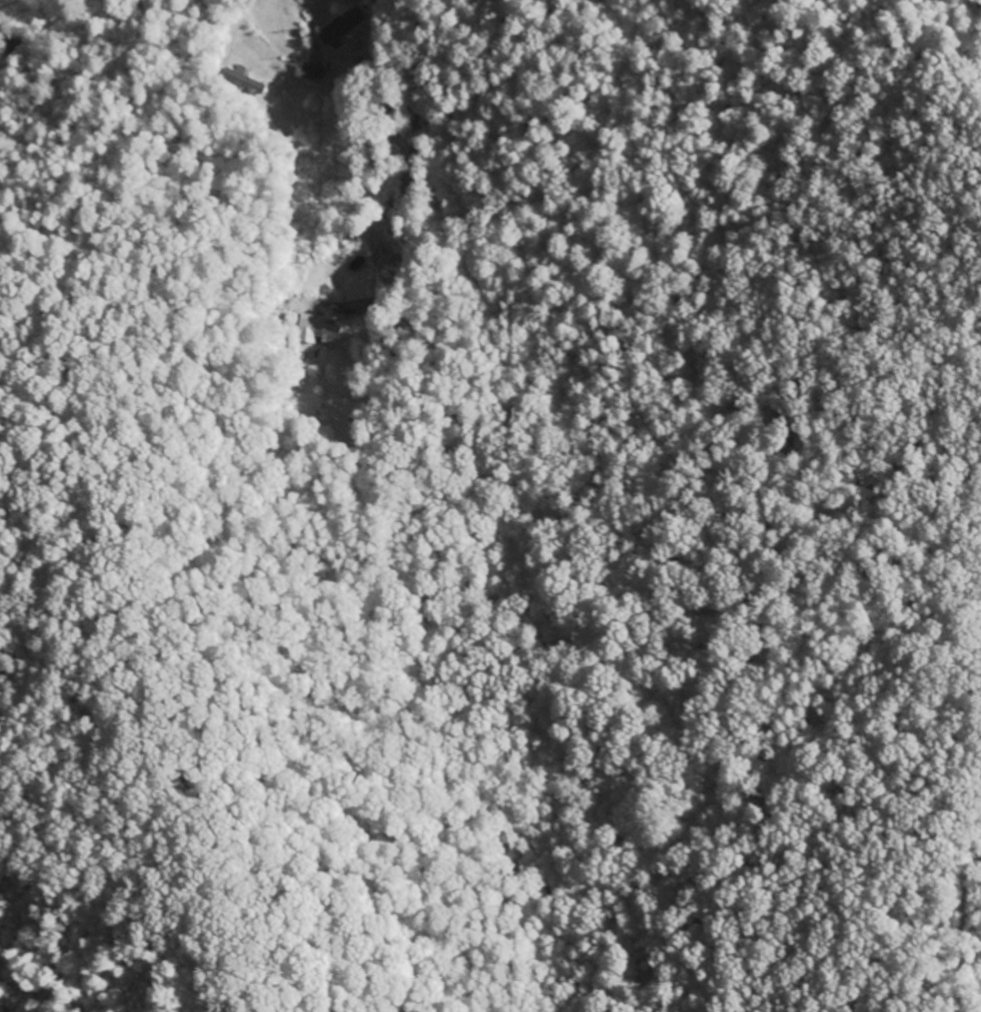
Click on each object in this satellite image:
road: (299, 10)
road: (400, 18)
building: (244, 80)
building: (317, 330)

